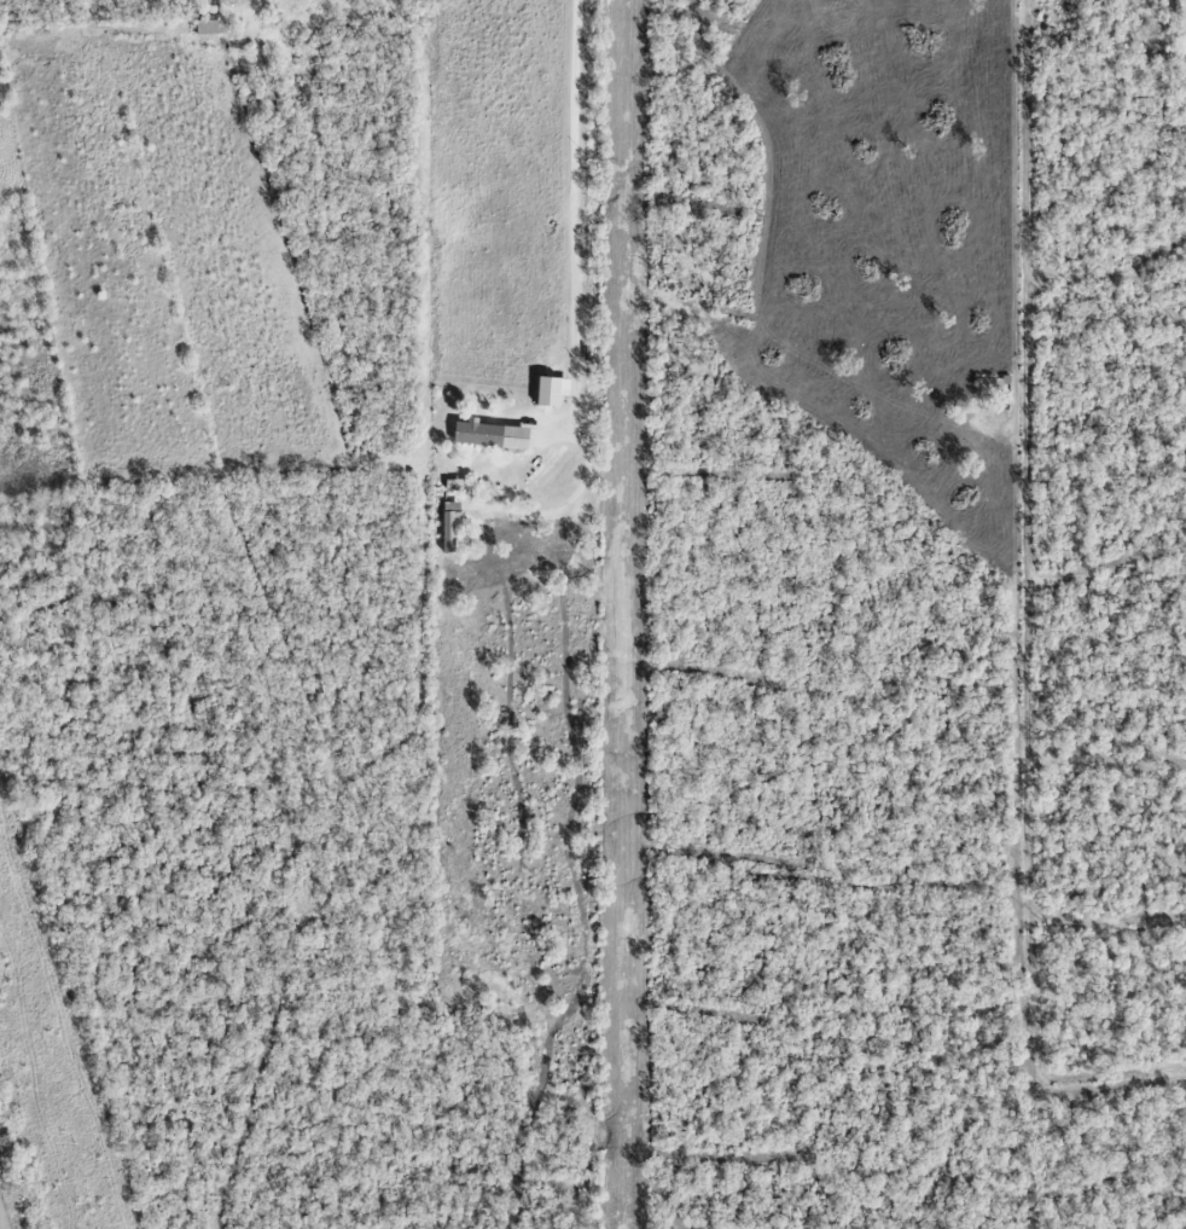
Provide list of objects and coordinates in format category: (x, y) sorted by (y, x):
building: (207, 27)
road: (575, 225)
building: (553, 390)
building: (493, 434)

